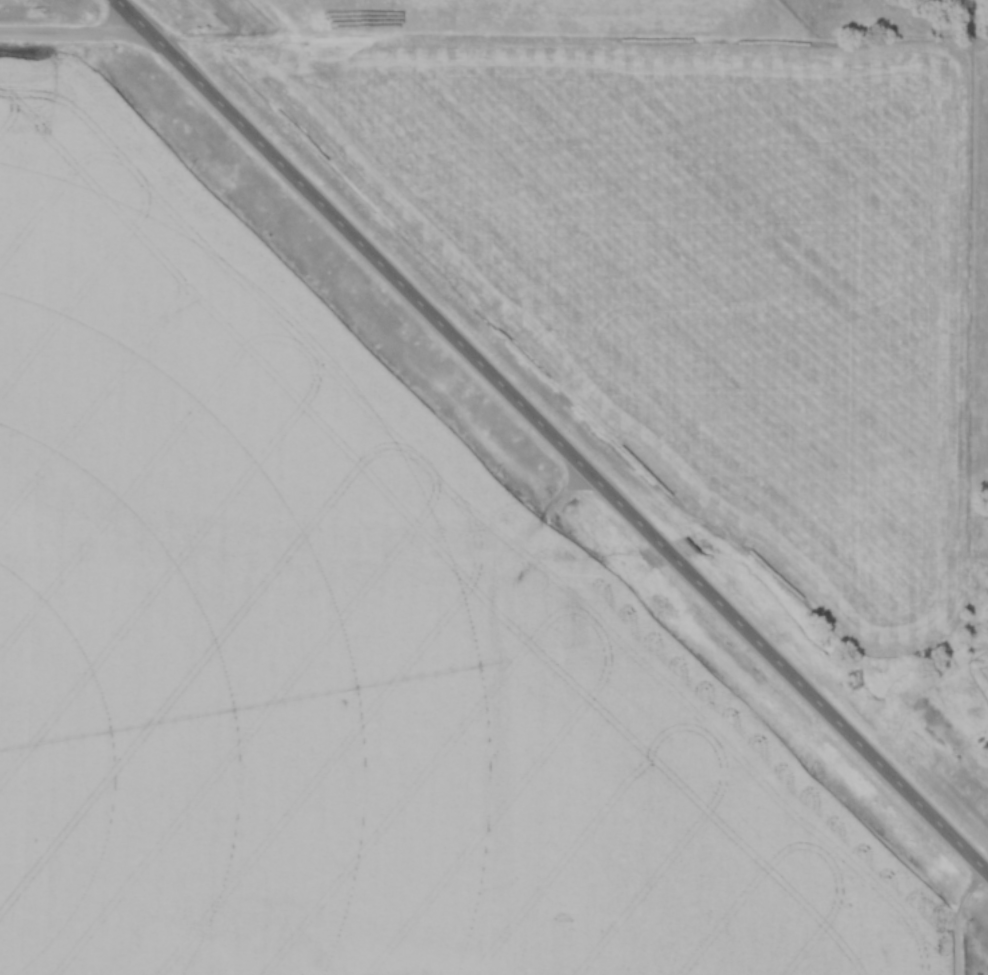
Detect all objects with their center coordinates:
road: (75, 34)
road: (552, 435)
building: (386, 949)

